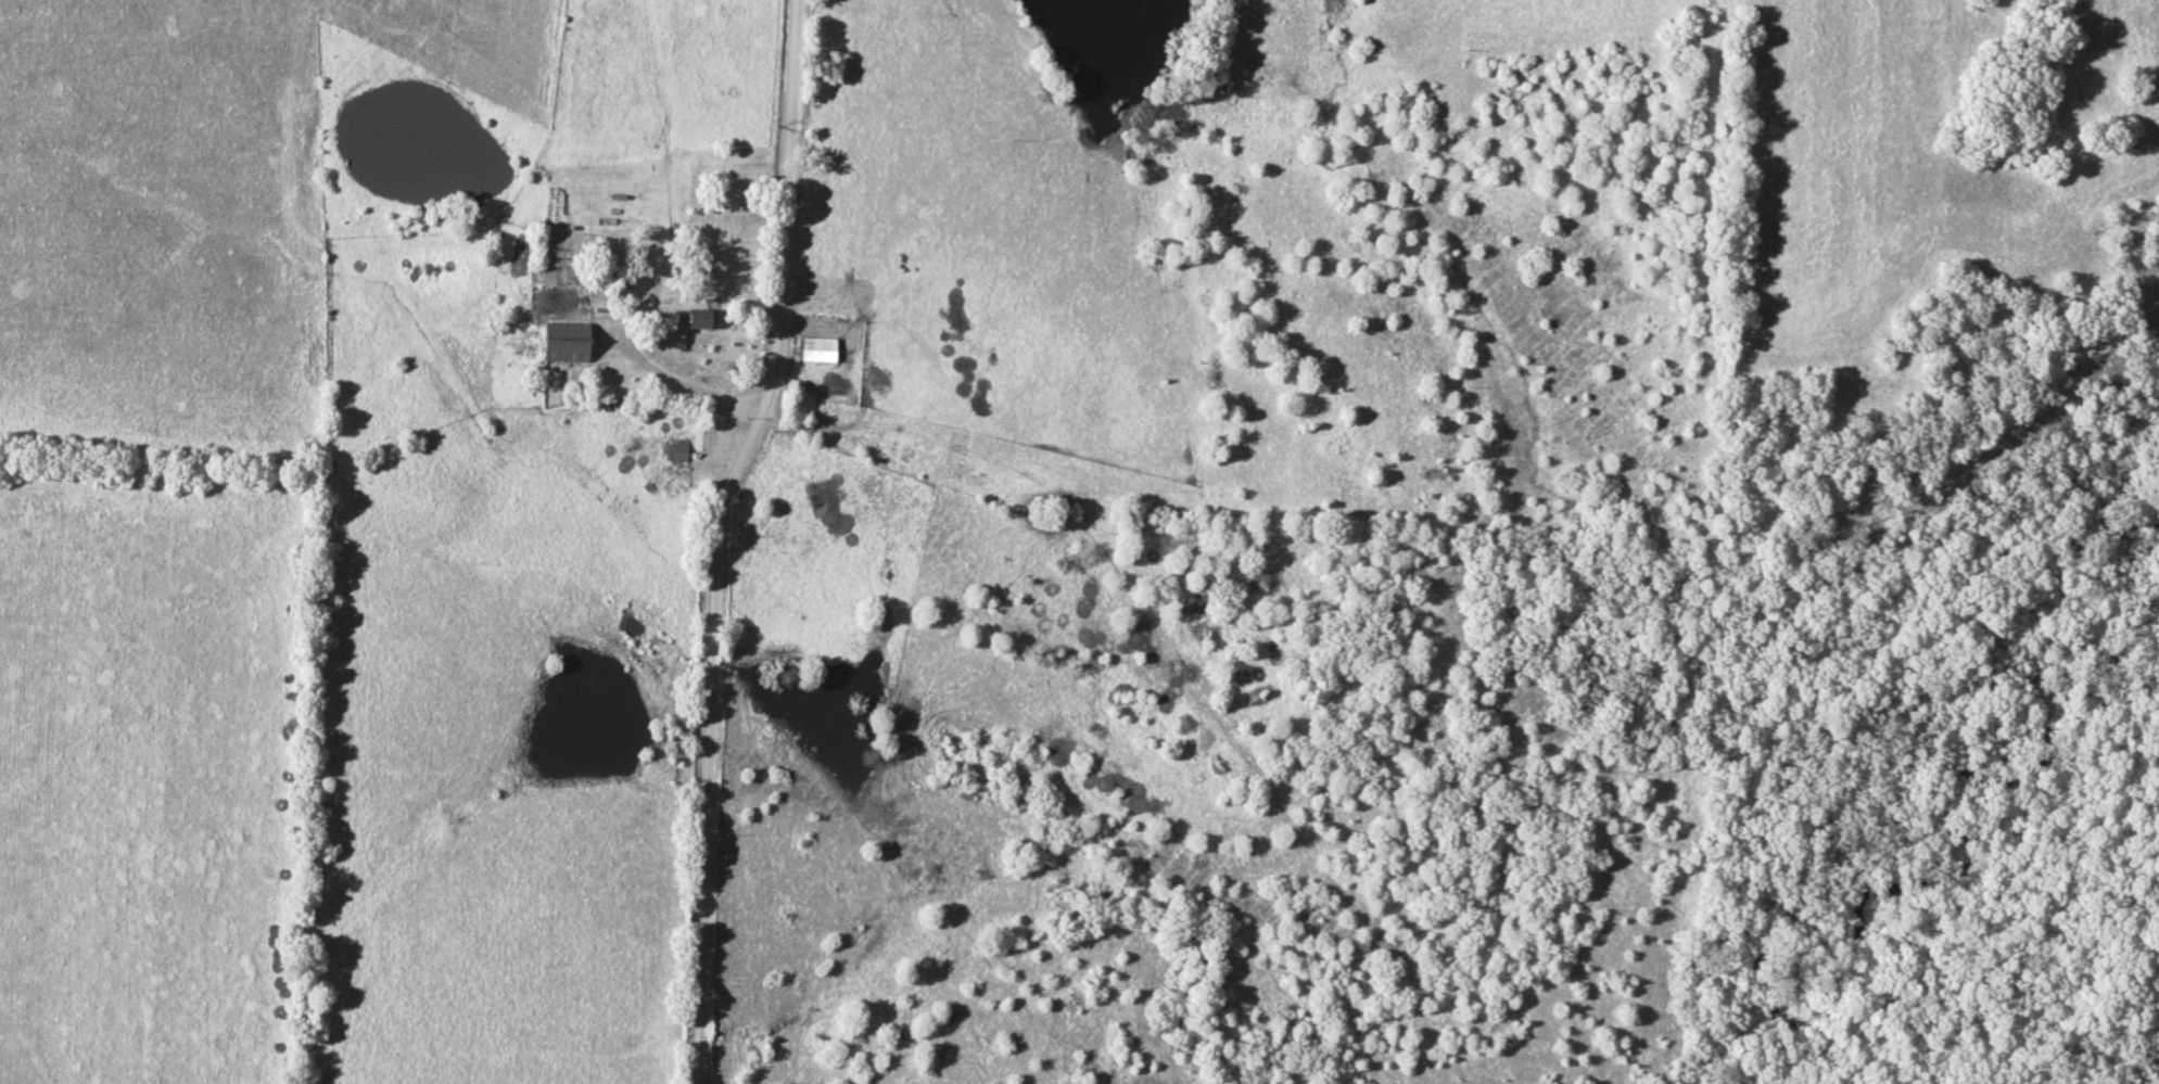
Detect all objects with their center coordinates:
building: (696, 318)
road: (627, 331)
building: (561, 349)
building: (674, 463)
road: (716, 535)

